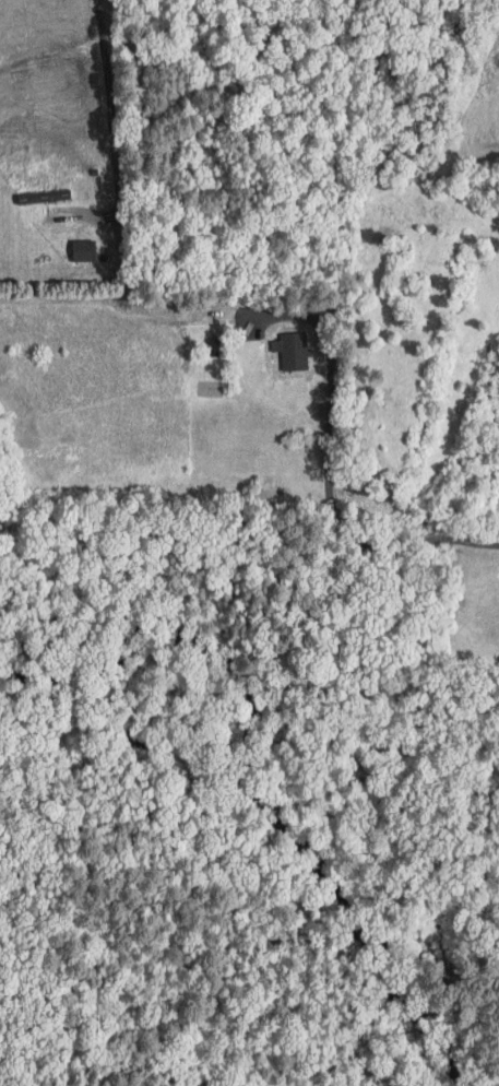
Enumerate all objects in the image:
road: (110, 108)
building: (47, 196)
building: (85, 249)
building: (296, 351)
road: (330, 503)

